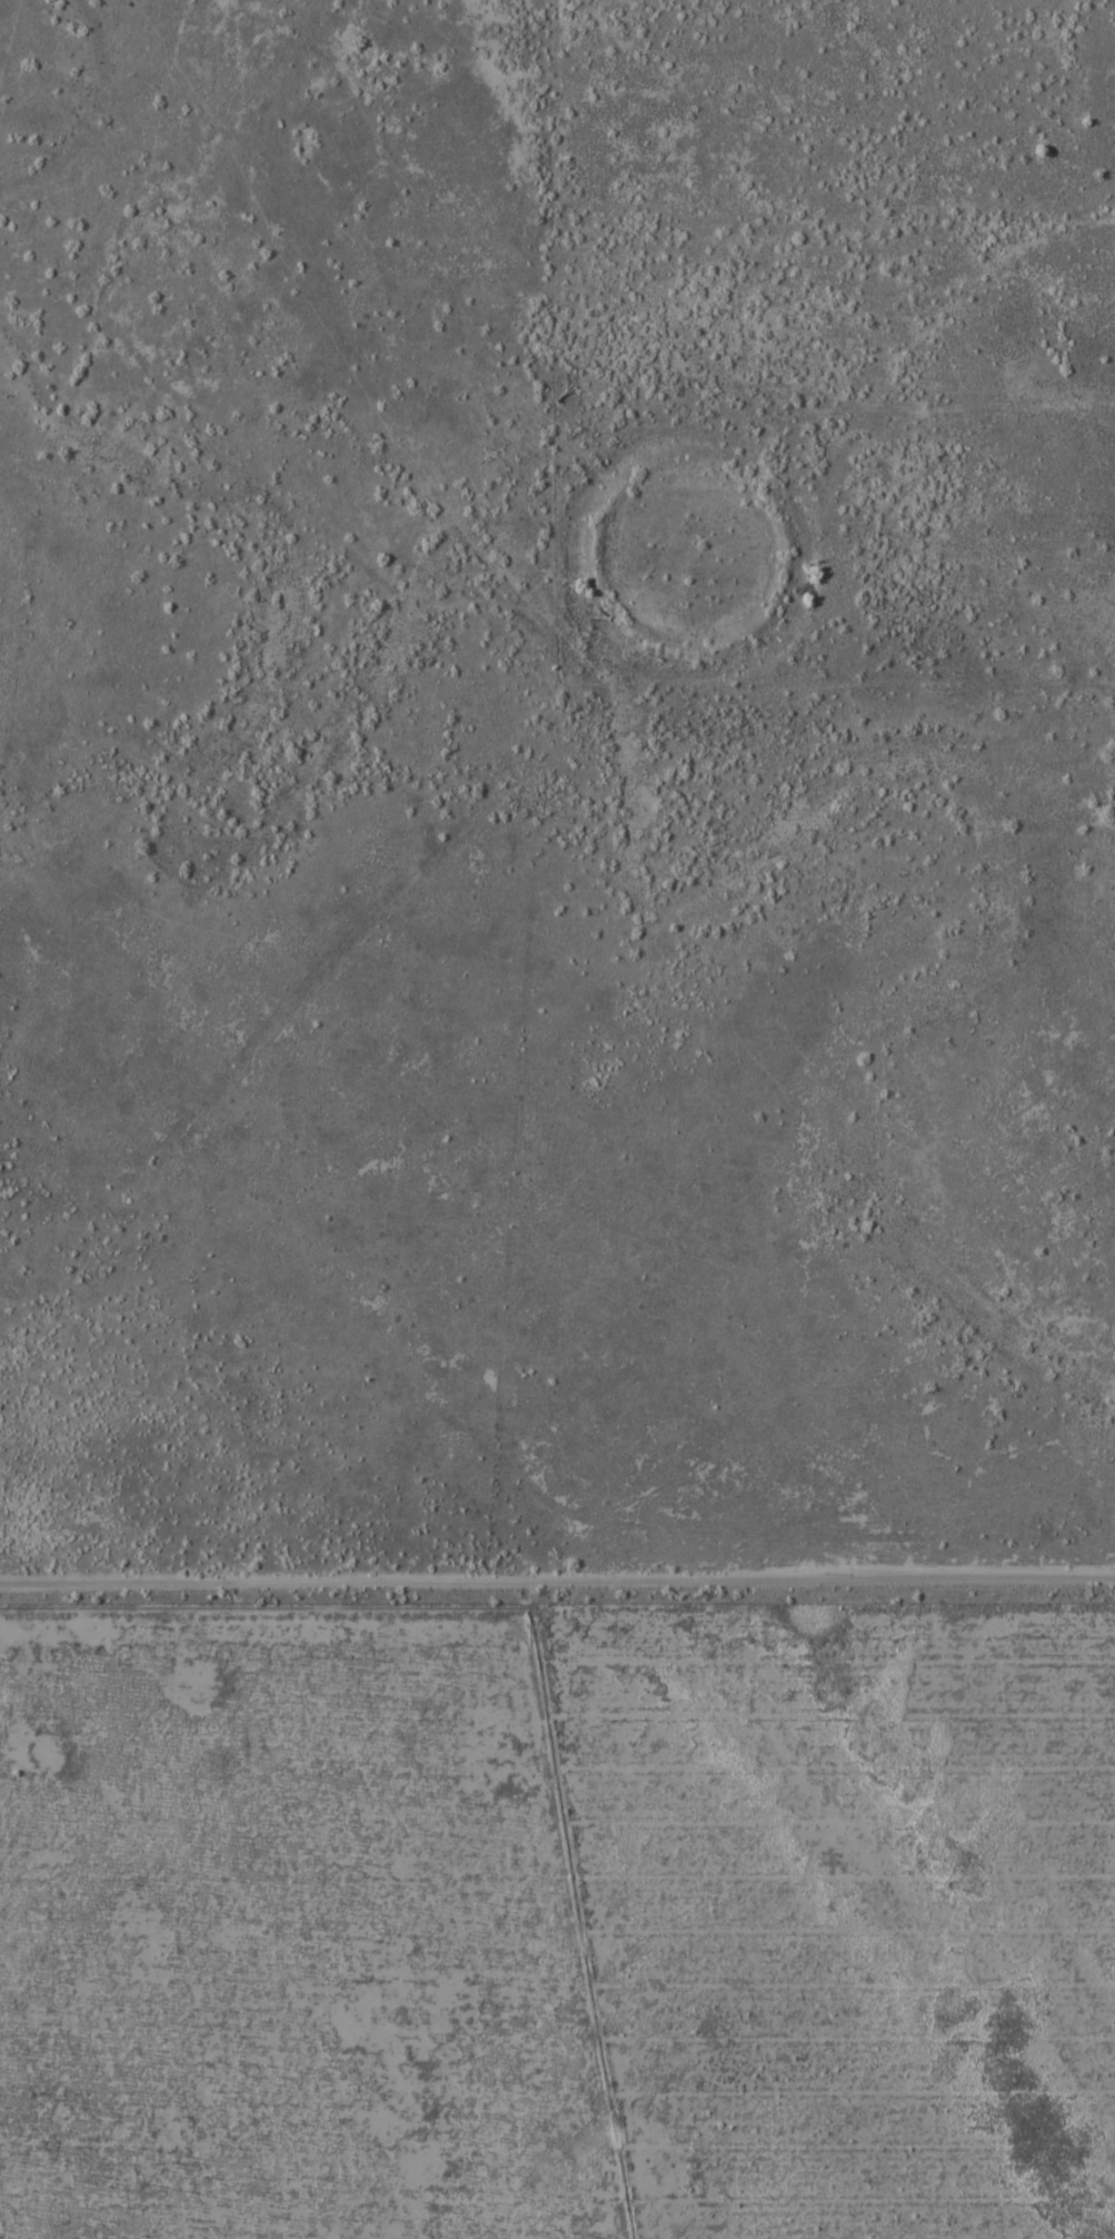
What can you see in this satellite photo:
road: (993, 425)
road: (557, 1581)

